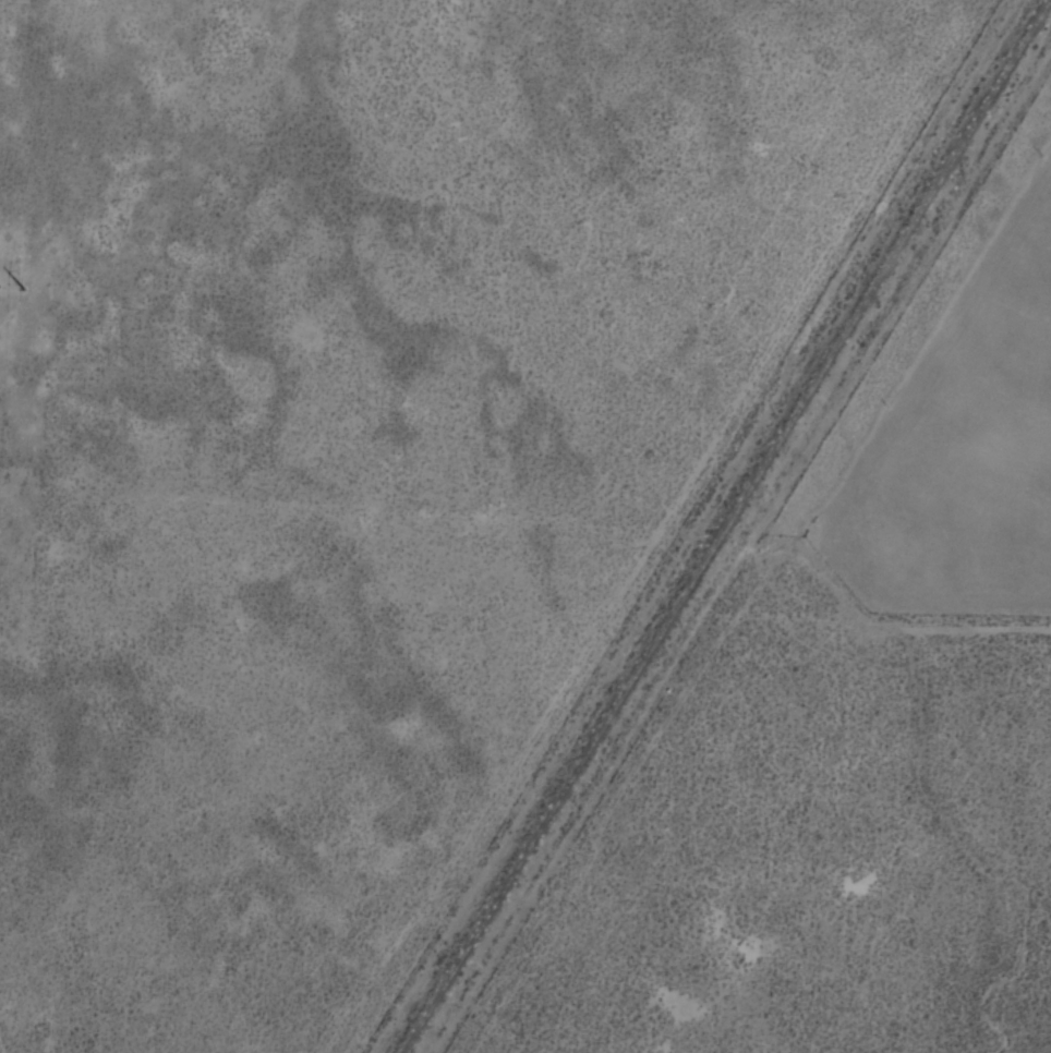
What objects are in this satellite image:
road: (741, 556)

